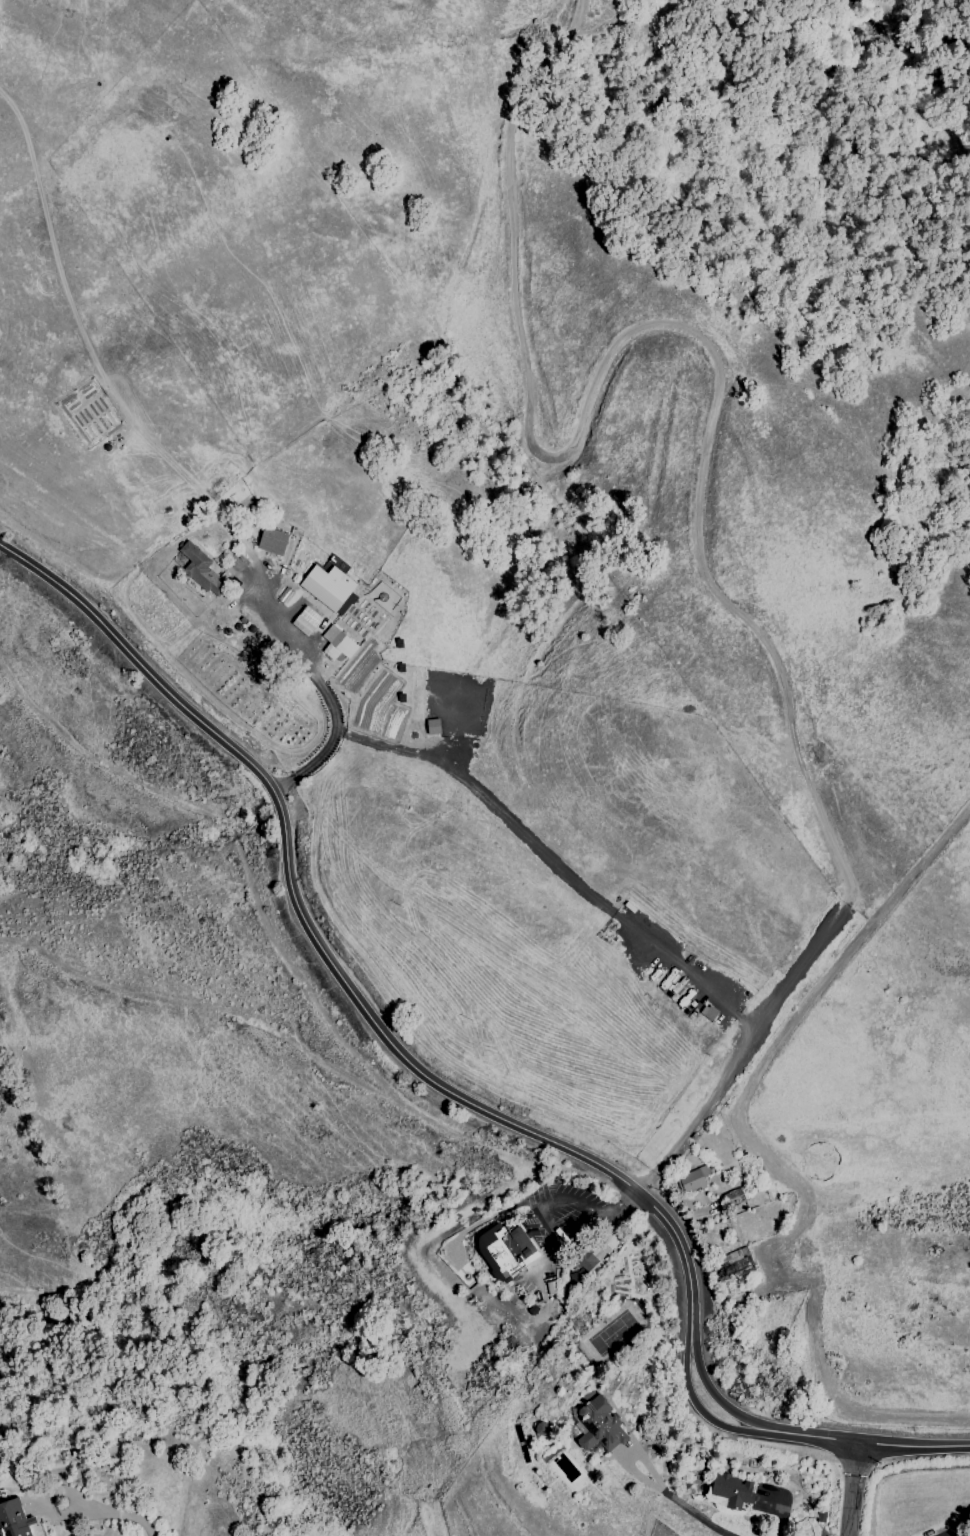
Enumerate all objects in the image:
road: (711, 356)
building: (272, 541)
building: (200, 570)
building: (327, 586)
building: (306, 621)
building: (337, 645)
road: (326, 698)
road: (442, 1086)
road: (712, 1089)
building: (693, 1180)
building: (733, 1197)
road: (567, 1201)
road: (622, 1204)
road: (569, 1230)
building: (504, 1251)
building: (585, 1260)
building: (732, 1264)
building: (597, 1426)
road: (852, 1488)
building: (732, 1490)
road: (670, 1500)
road: (123, 1514)
building: (13, 1520)

